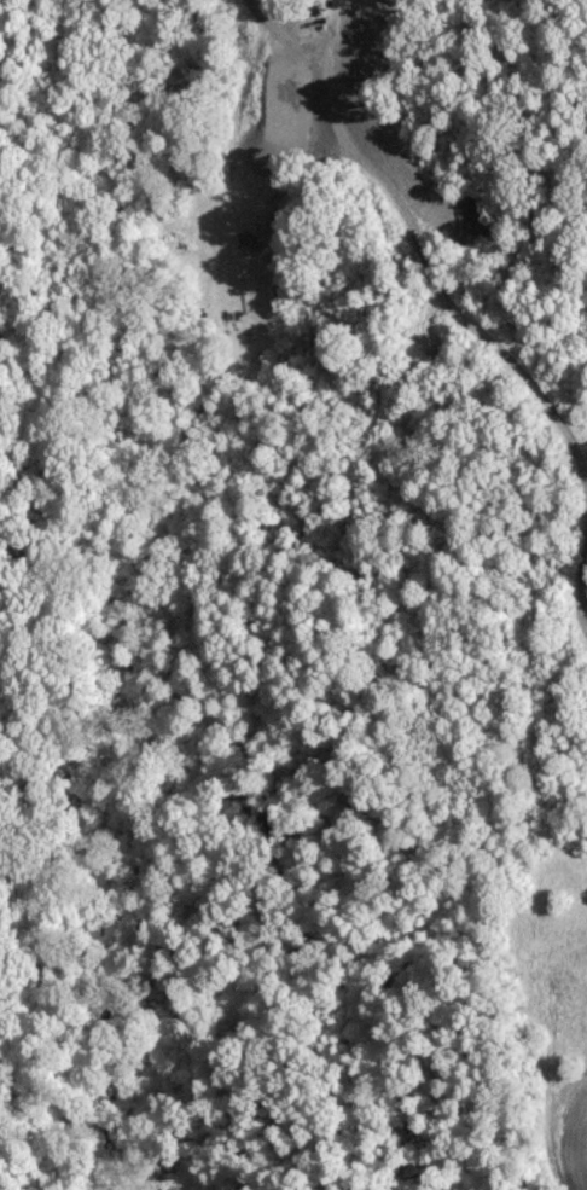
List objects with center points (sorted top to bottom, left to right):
road: (289, 52)

